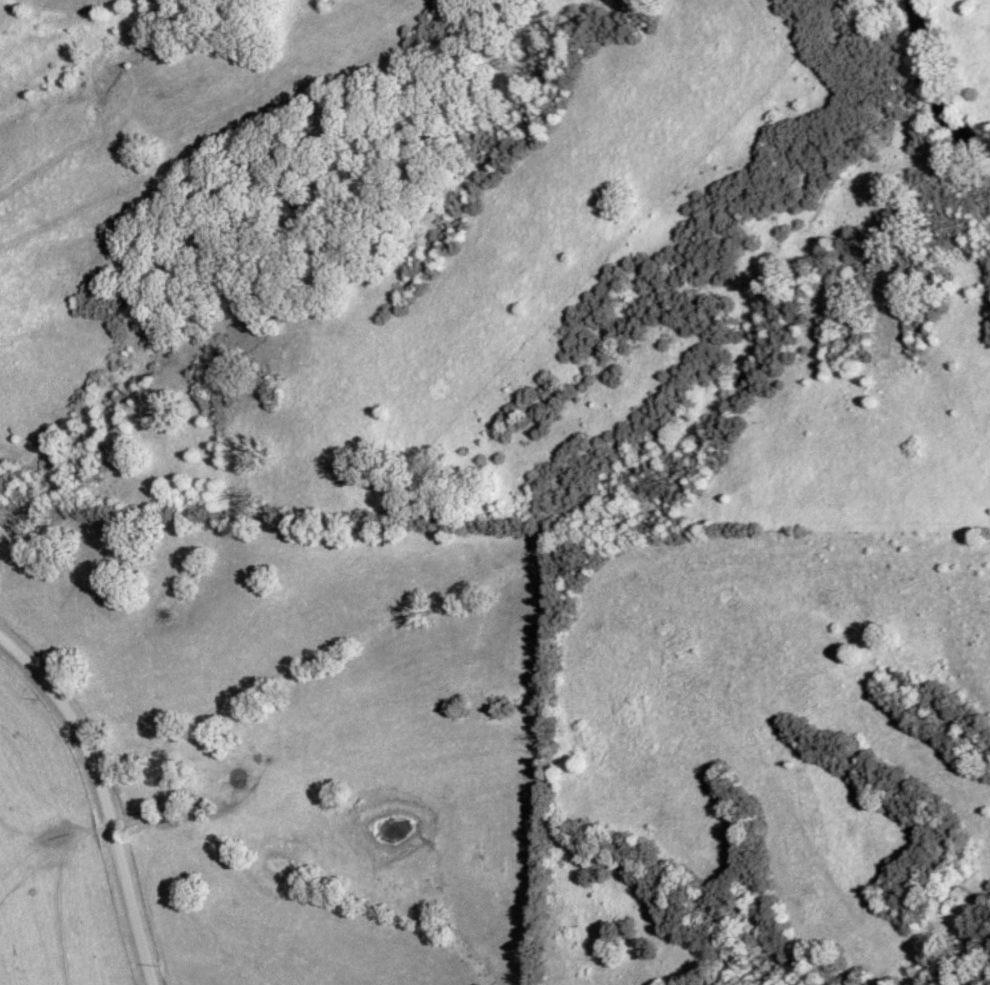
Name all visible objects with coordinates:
road: (104, 799)

